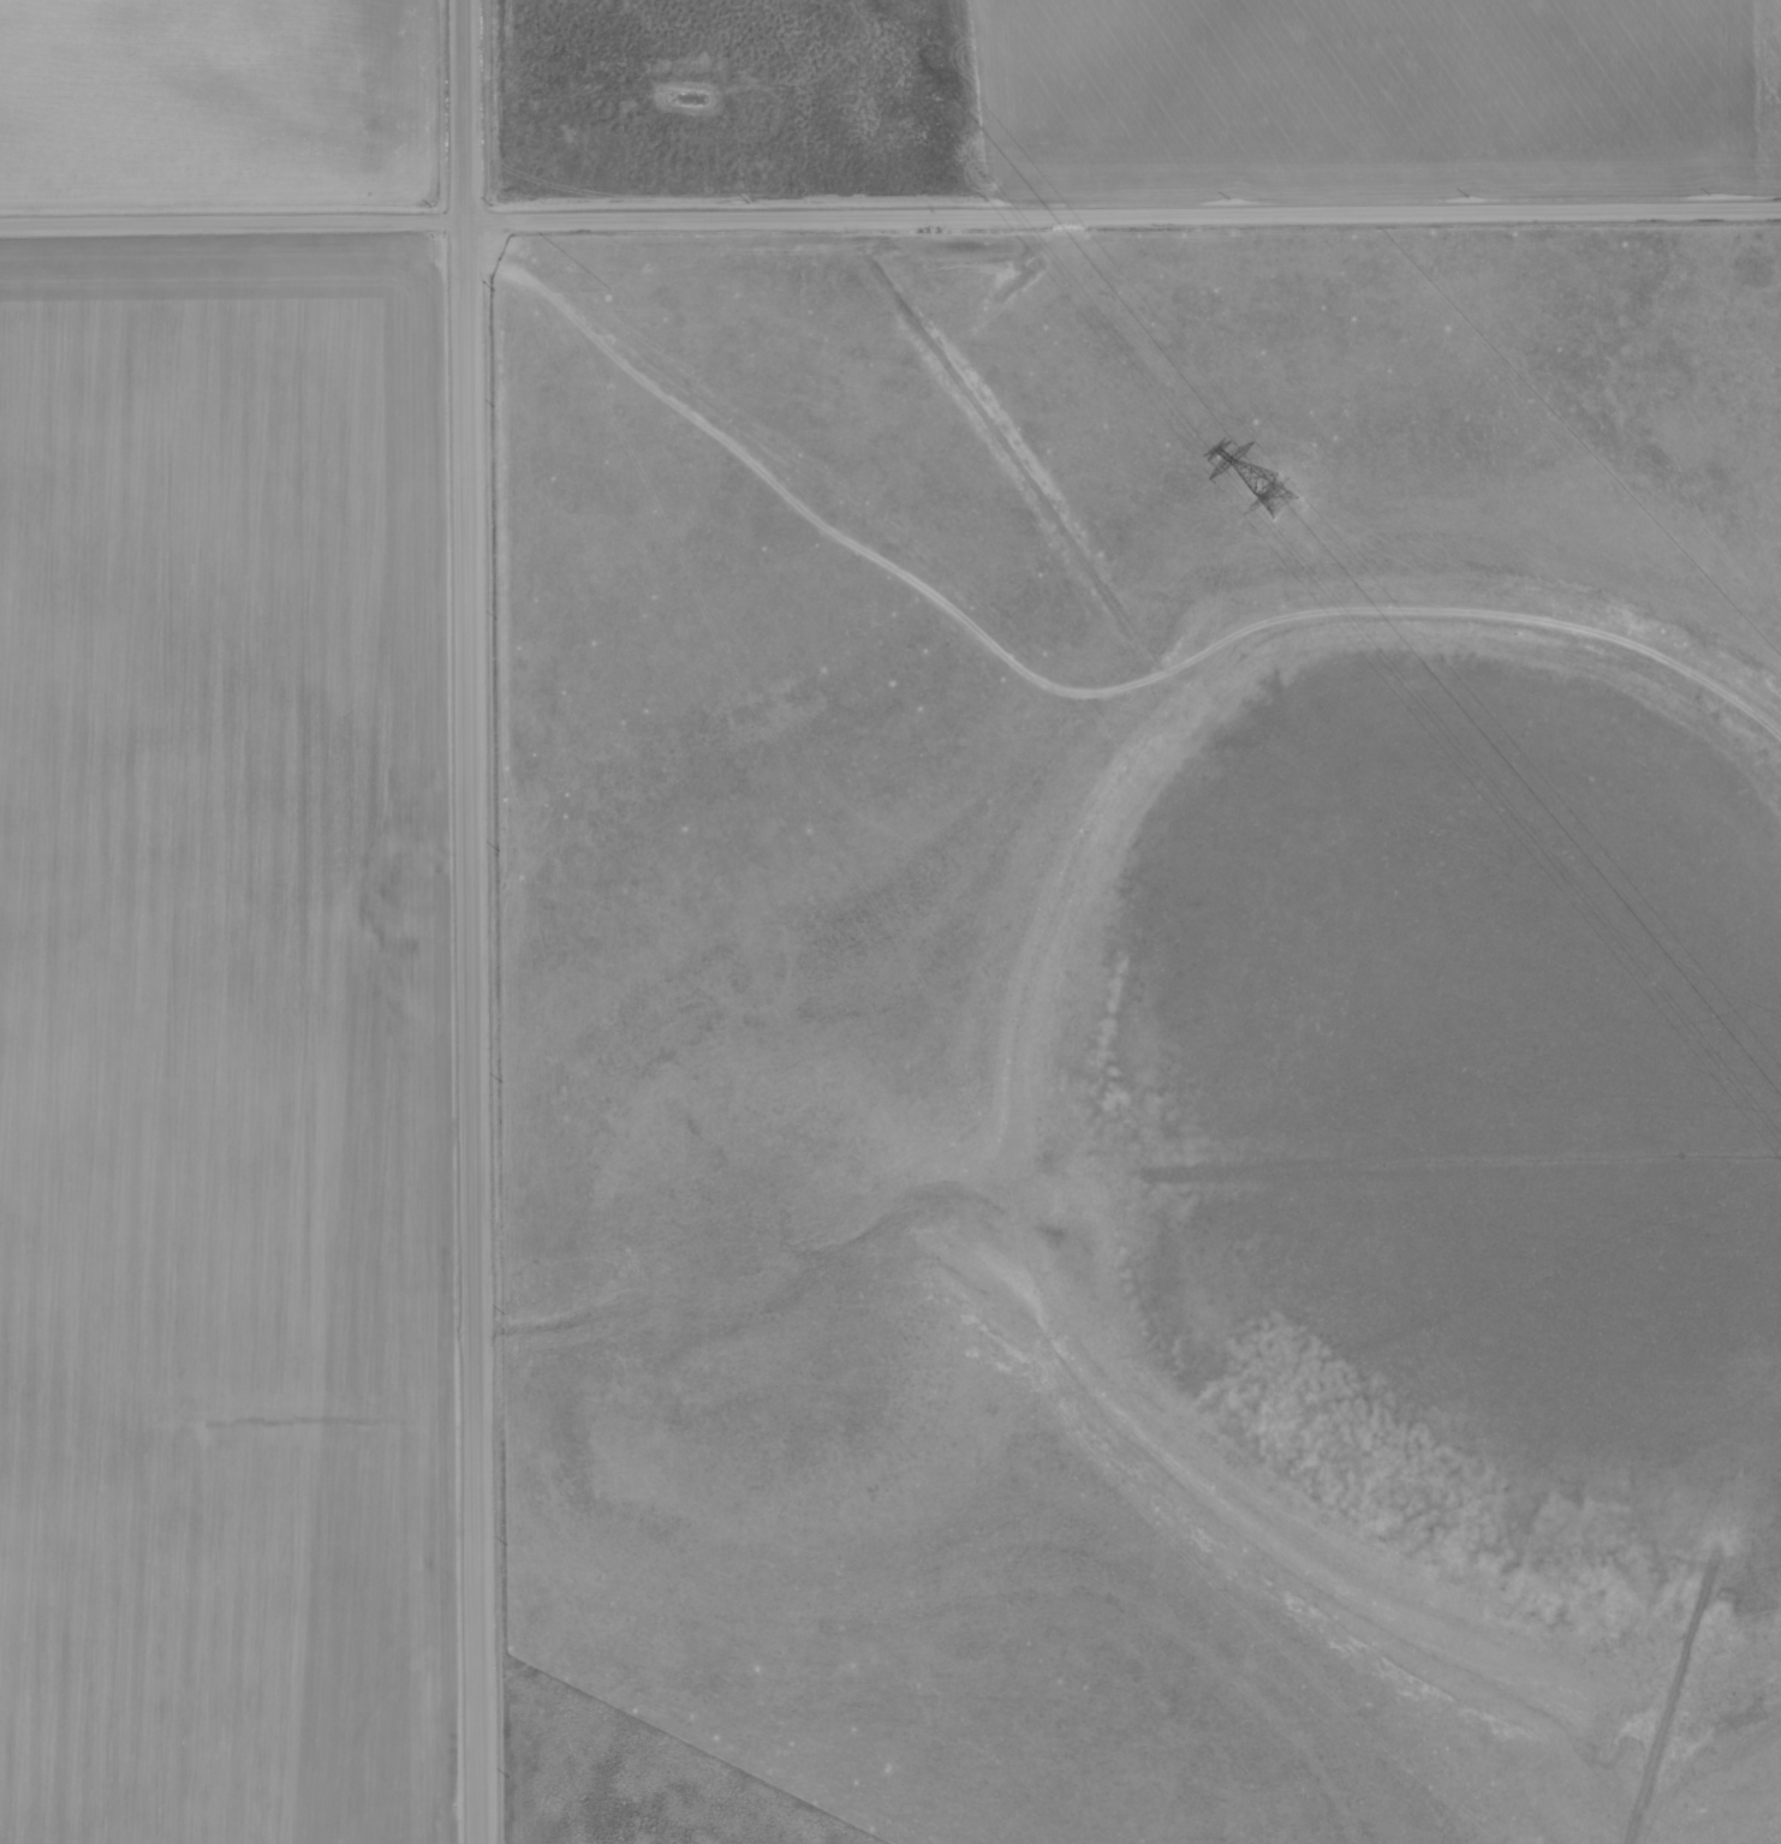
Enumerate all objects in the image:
road: (890, 219)
power tower: (1274, 499)
road: (470, 921)

